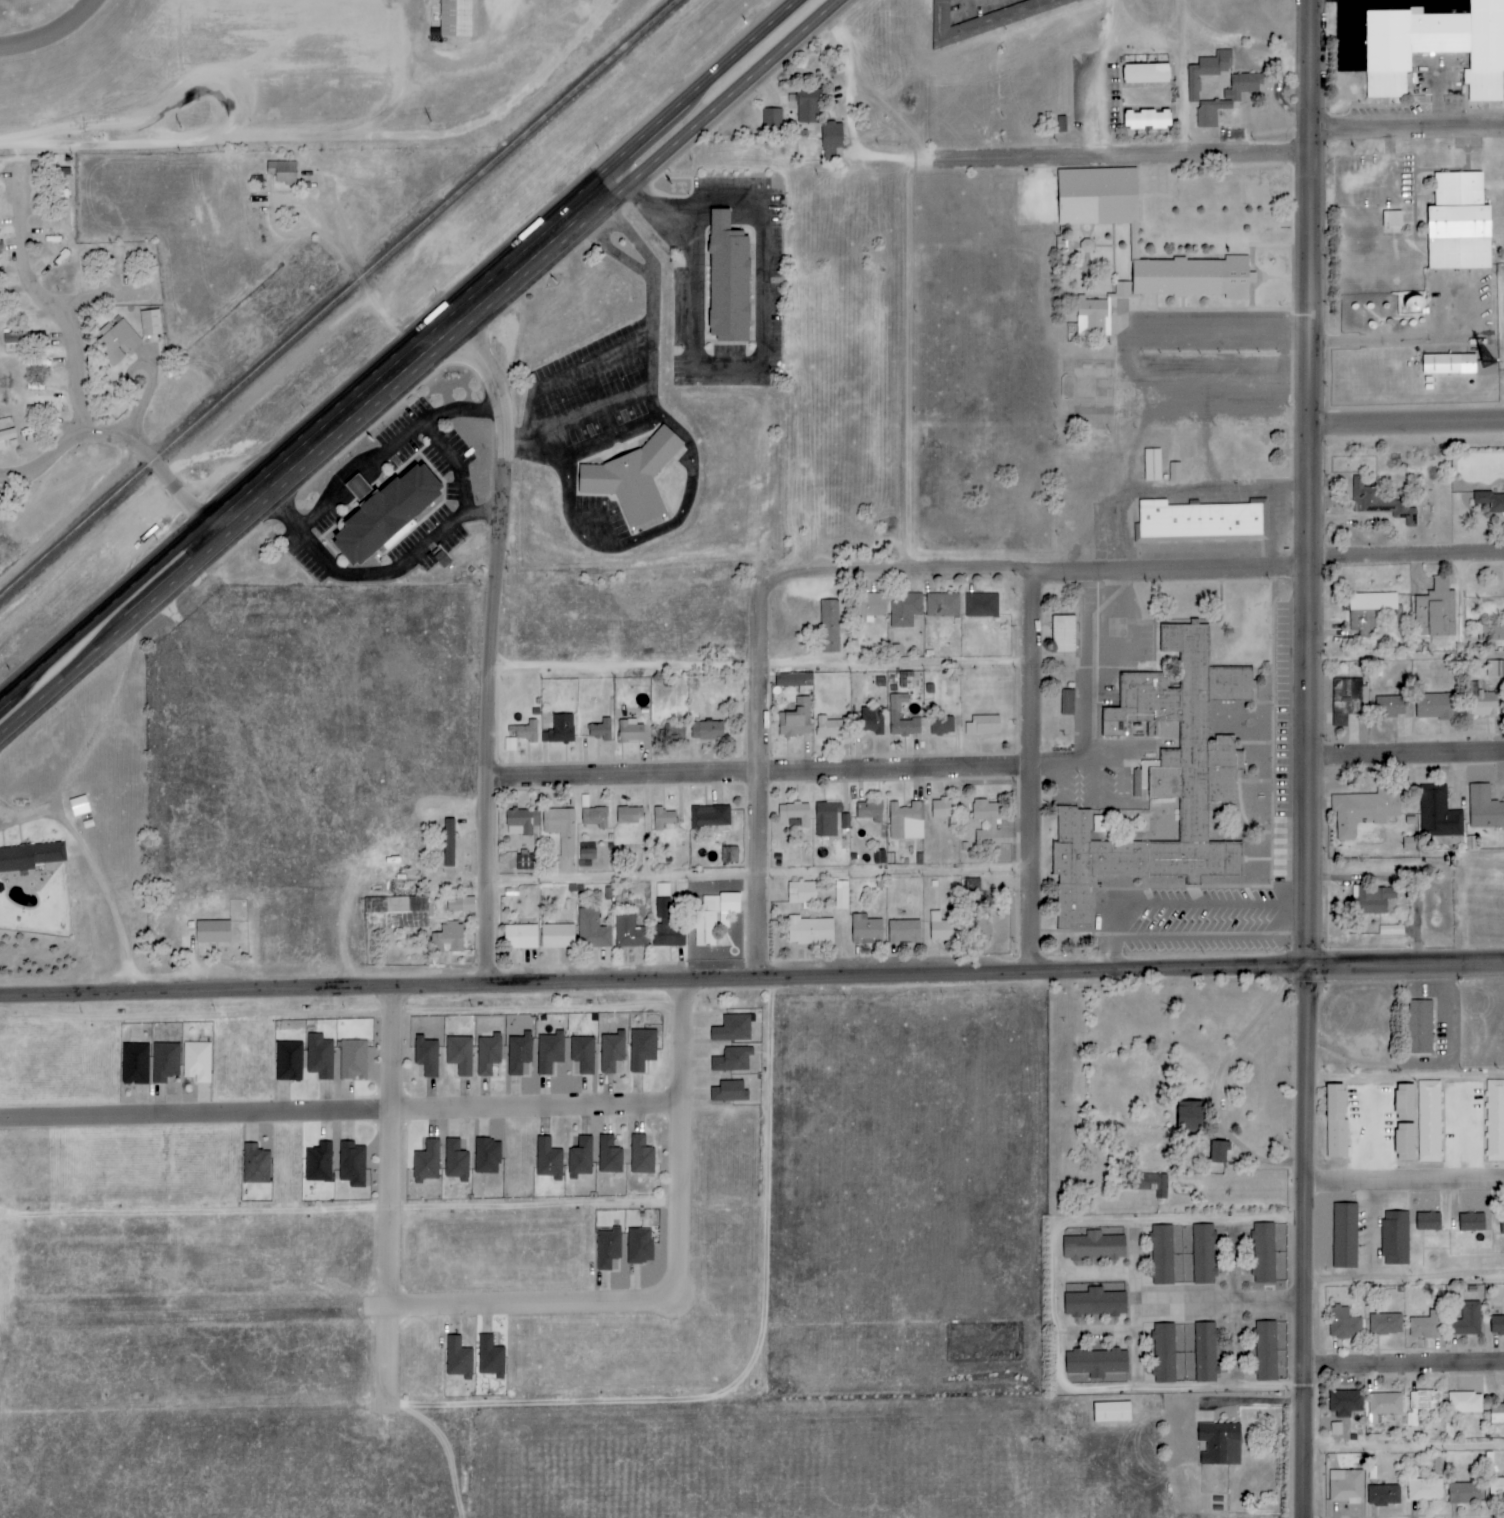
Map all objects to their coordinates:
building: (454, 18)
building: (988, 20)
road: (57, 37)
building: (1436, 47)
building: (1145, 74)
road: (1181, 77)
building: (1246, 82)
building: (806, 107)
building: (771, 118)
building: (1146, 120)
road: (1406, 126)
building: (830, 139)
road: (249, 141)
road: (1119, 155)
building: (281, 172)
building: (1096, 197)
building: (1391, 219)
building: (1458, 224)
road: (282, 226)
building: (726, 280)
building: (1168, 287)
road: (39, 288)
road: (371, 293)
railway: (337, 297)
road: (462, 301)
road: (502, 302)
building: (1412, 305)
parking lot: (1159, 322)
building: (149, 323)
road: (1222, 329)
road: (1386, 340)
building: (114, 342)
road: (80, 365)
building: (1447, 365)
road: (742, 368)
road: (154, 393)
parking lot: (1187, 398)
road: (1406, 422)
building: (7, 435)
road: (129, 437)
road: (393, 445)
building: (0, 448)
road: (457, 462)
building: (632, 478)
road: (1308, 483)
building: (1381, 501)
building: (1490, 502)
building: (381, 514)
building: (1201, 520)
road: (73, 523)
road: (1405, 554)
road: (385, 573)
road: (1035, 574)
building: (1372, 601)
building: (942, 605)
building: (981, 605)
building: (871, 606)
building: (905, 608)
building: (828, 626)
building: (1064, 634)
road: (497, 640)
road: (58, 651)
road: (765, 666)
building: (1495, 669)
road: (81, 671)
building: (906, 680)
building: (794, 681)
road: (1093, 698)
building: (1347, 699)
building: (1067, 702)
building: (1481, 702)
building: (1435, 706)
building: (1389, 707)
building: (894, 711)
building: (795, 719)
building: (871, 720)
building: (941, 726)
building: (982, 726)
building: (828, 727)
building: (559, 729)
building: (600, 730)
building: (629, 731)
building: (706, 731)
building: (525, 732)
building: (672, 732)
road: (1405, 753)
road: (1034, 773)
road: (762, 774)
road: (762, 781)
building: (1161, 782)
building: (78, 806)
building: (1484, 808)
building: (943, 809)
building: (1363, 810)
building: (869, 811)
building: (793, 815)
building: (1439, 815)
building: (628, 816)
building: (594, 817)
building: (710, 817)
building: (662, 818)
building: (830, 819)
building: (906, 821)
building: (520, 822)
building: (986, 823)
building: (560, 828)
building: (448, 843)
building: (1409, 844)
building: (586, 851)
building: (730, 855)
road: (1478, 855)
building: (29, 856)
building: (524, 863)
road: (100, 869)
road: (763, 878)
building: (973, 886)
building: (662, 890)
building: (801, 893)
building: (841, 895)
building: (1373, 900)
building: (459, 905)
building: (395, 912)
building: (711, 917)
road: (1109, 922)
building: (939, 929)
building: (977, 929)
building: (592, 930)
building: (629, 930)
building: (865, 930)
building: (1391, 930)
building: (809, 931)
building: (211, 932)
building: (903, 932)
building: (557, 936)
building: (520, 937)
building: (447, 939)
road: (752, 982)
building: (1419, 1026)
building: (732, 1029)
building: (641, 1049)
building: (549, 1052)
building: (611, 1052)
building: (518, 1053)
building: (488, 1054)
building: (583, 1054)
building: (459, 1055)
building: (426, 1056)
building: (320, 1057)
building: (353, 1060)
building: (732, 1060)
building: (288, 1061)
building: (164, 1062)
building: (196, 1062)
building: (134, 1064)
road: (1226, 1079)
road: (1405, 1079)
building: (729, 1091)
building: (1403, 1102)
road: (536, 1109)
road: (196, 1112)
building: (1188, 1115)
building: (1495, 1120)
building: (1335, 1121)
building: (1430, 1121)
building: (1403, 1141)
building: (1218, 1150)
building: (610, 1153)
building: (642, 1154)
building: (487, 1156)
building: (580, 1157)
building: (456, 1158)
building: (548, 1159)
building: (427, 1161)
building: (318, 1162)
building: (352, 1164)
building: (256, 1165)
road: (1404, 1178)
road: (391, 1183)
building: (1148, 1183)
building: (1427, 1221)
building: (1471, 1222)
road: (1175, 1223)
building: (1502, 1224)
building: (1345, 1235)
building: (1395, 1238)
road: (1306, 1242)
building: (640, 1245)
building: (1094, 1245)
building: (608, 1248)
building: (1263, 1253)
building: (1162, 1254)
building: (1203, 1254)
road: (1095, 1274)
road: (677, 1280)
road: (1405, 1280)
building: (1096, 1301)
road: (1221, 1302)
road: (1244, 1303)
road: (1135, 1307)
building: (1467, 1320)
building: (1343, 1324)
building: (1385, 1324)
building: (1426, 1325)
building: (1496, 1325)
road: (1096, 1336)
building: (1280, 1339)
building: (1265, 1351)
building: (1205, 1352)
building: (1164, 1353)
building: (490, 1357)
building: (457, 1358)
building: (1095, 1362)
road: (1406, 1365)
road: (1111, 1388)
building: (1345, 1403)
building: (1464, 1403)
building: (1422, 1404)
building: (1384, 1405)
building: (1111, 1412)
building: (1496, 1413)
building: (1335, 1428)
building: (1219, 1443)
road: (1404, 1448)
building: (1437, 1466)
building: (1345, 1486)
building: (1496, 1488)
building: (1424, 1490)
building: (1464, 1493)
building: (1383, 1495)

